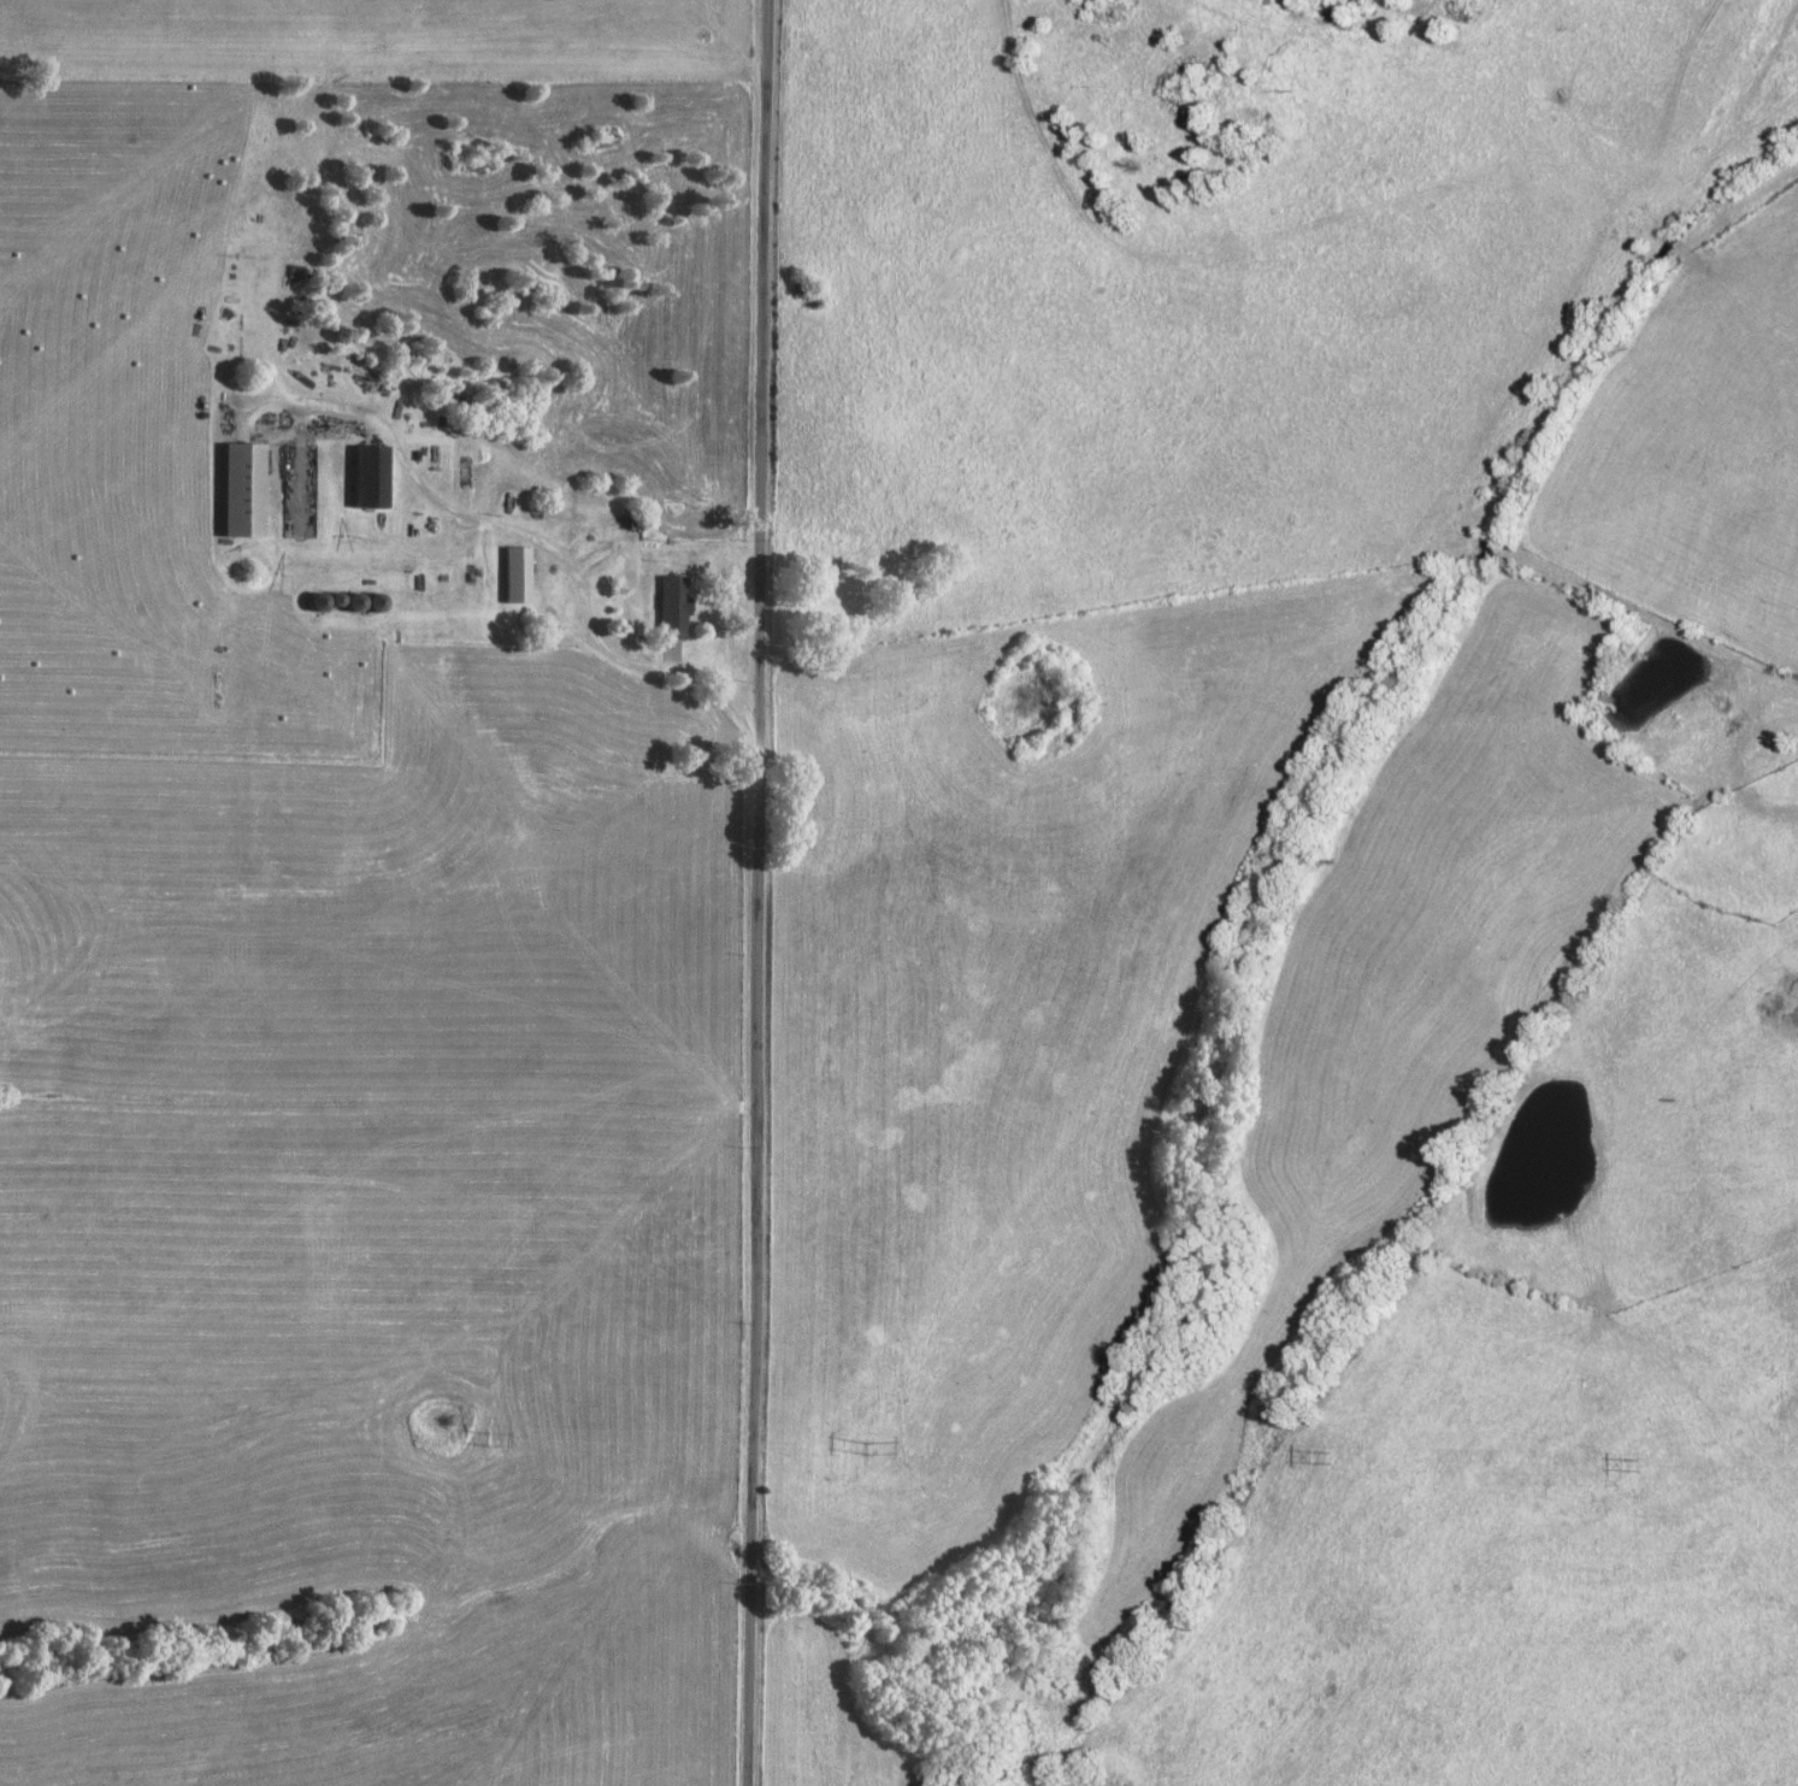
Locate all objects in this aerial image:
building: (361, 477)
building: (234, 490)
road: (476, 524)
building: (509, 574)
building: (667, 607)
road: (719, 683)
road: (760, 892)
power tower: (487, 1443)
power tower: (860, 1445)

